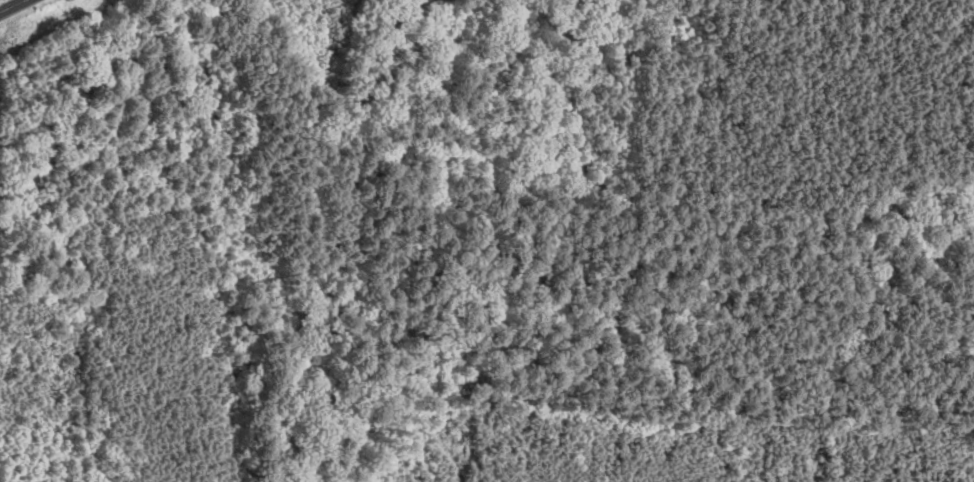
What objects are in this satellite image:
road: (14, 7)

